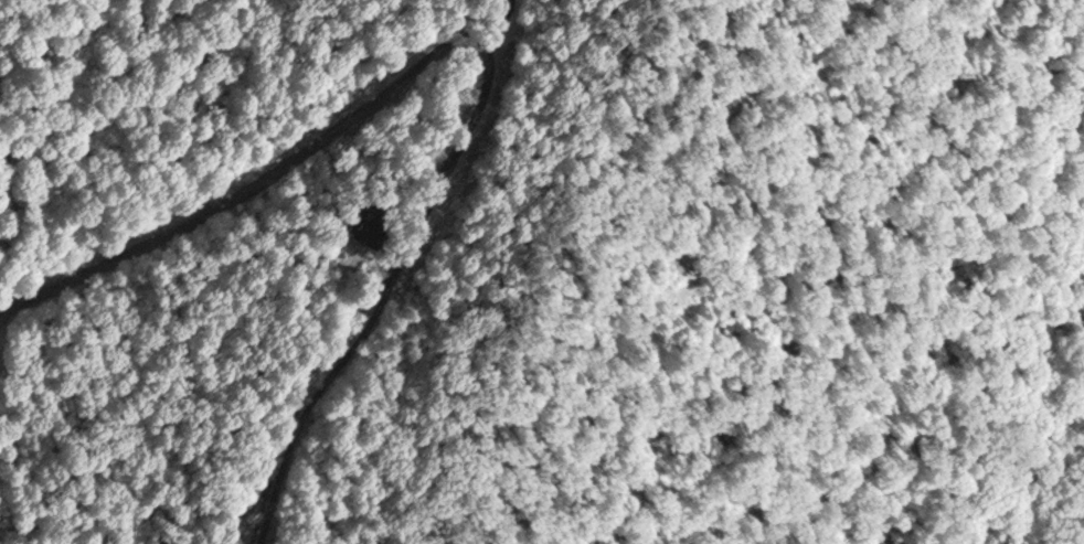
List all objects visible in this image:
road: (480, 35)
building: (368, 217)

